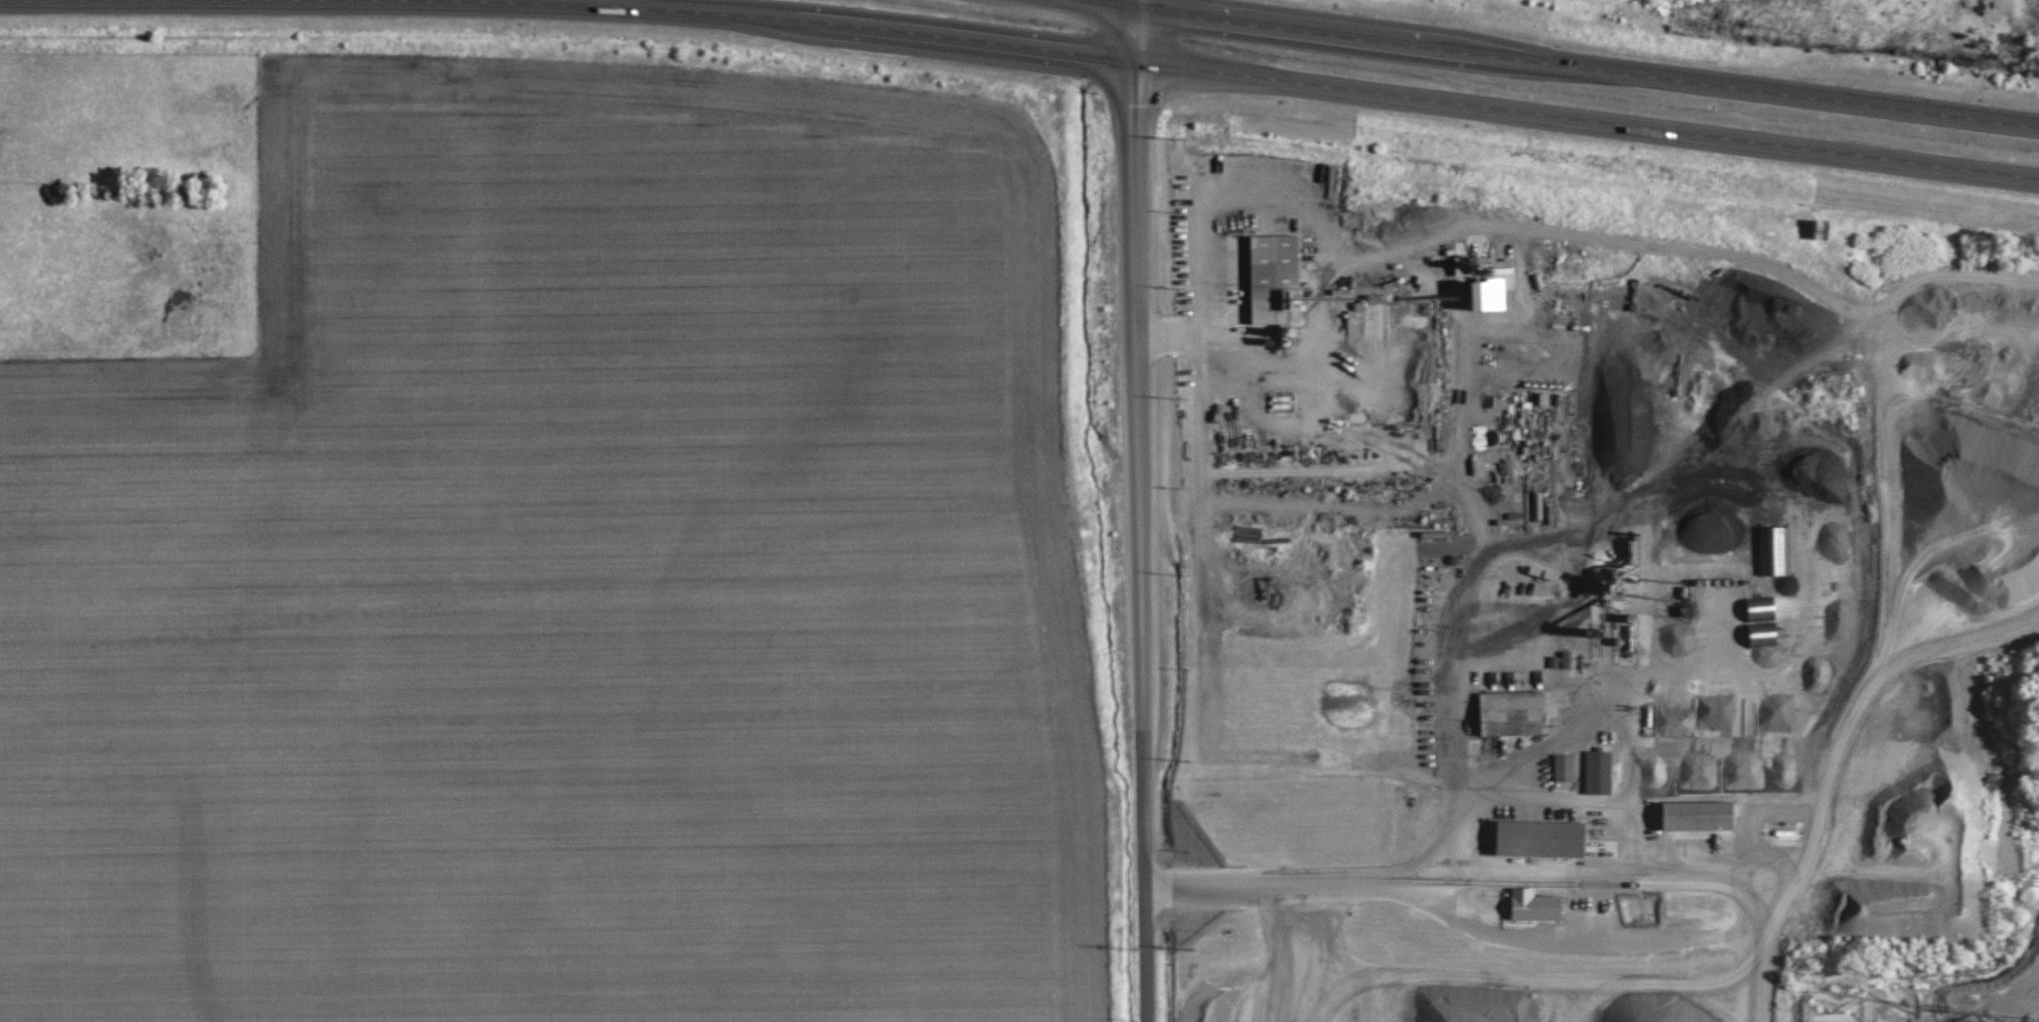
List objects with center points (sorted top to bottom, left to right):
road: (596, 6)
road: (1131, 30)
road: (1586, 70)
road: (1583, 120)
road: (1887, 483)
road: (1139, 541)
building: (1774, 550)
quarry: (1631, 592)
building: (1762, 612)
building: (1764, 634)
building: (1513, 713)
park: (2025, 732)
building: (1564, 767)
building: (1598, 767)
building: (1700, 815)
building: (1542, 838)
building: (1536, 906)

